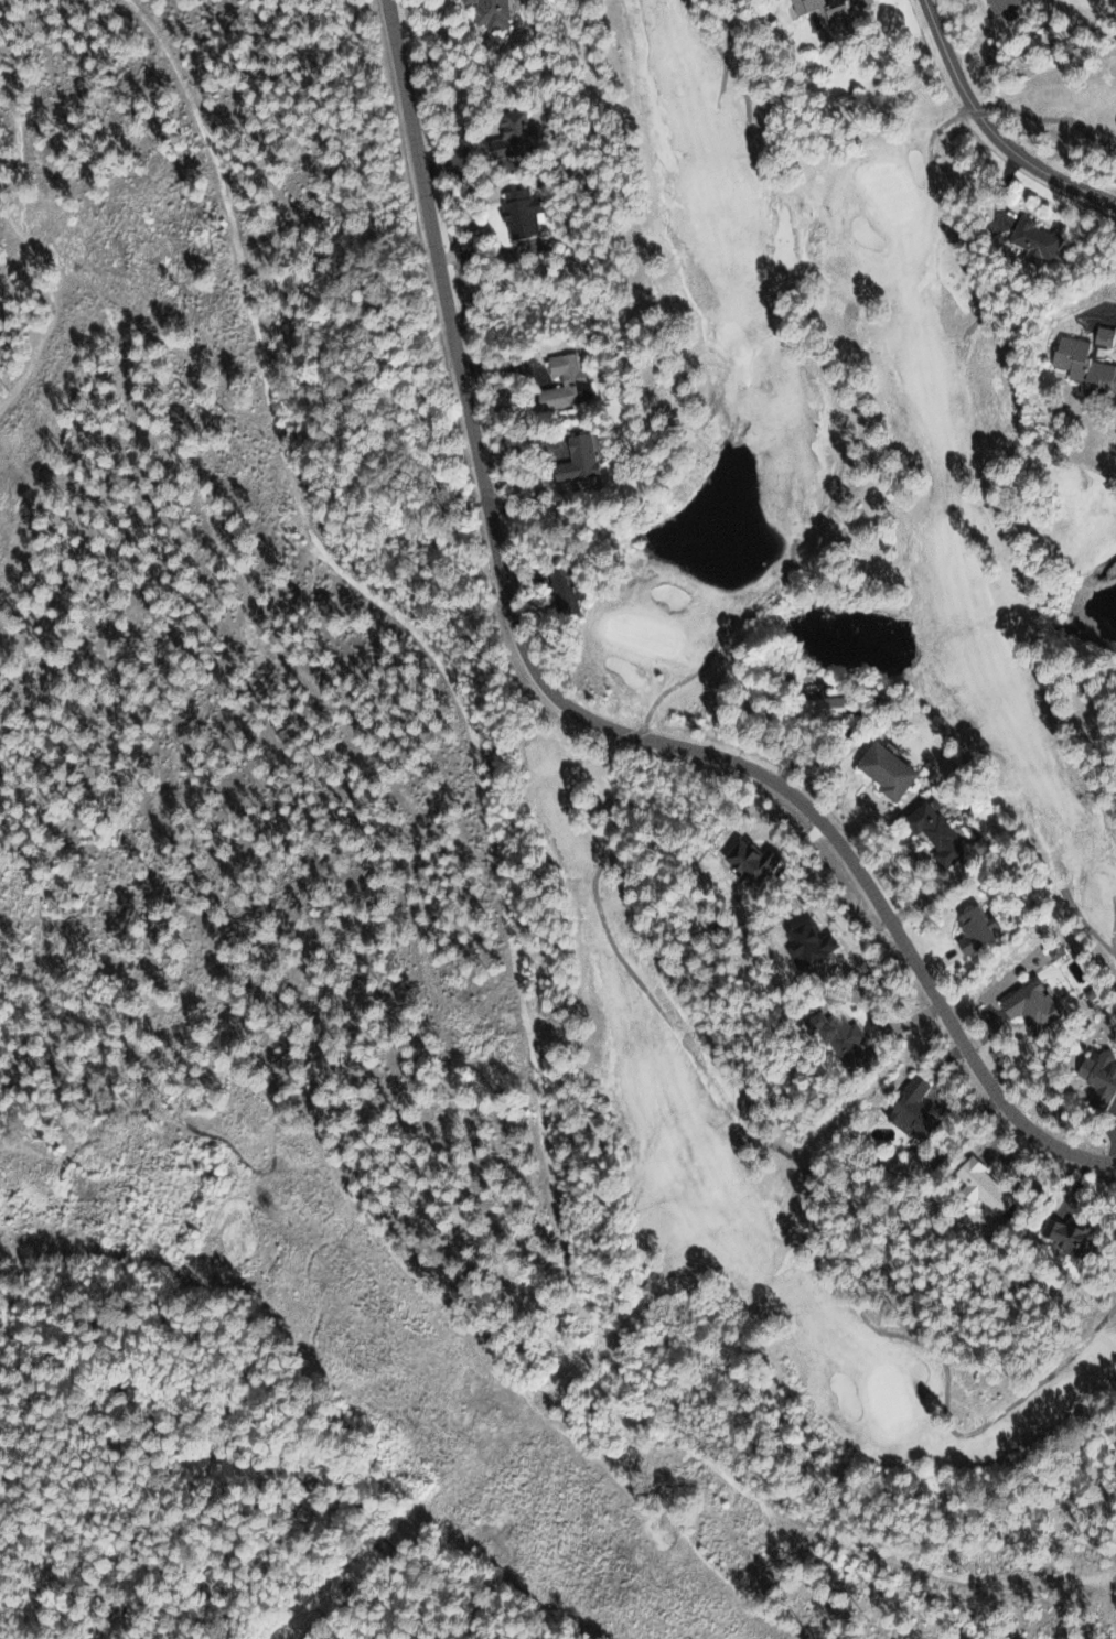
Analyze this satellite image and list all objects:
building: (861, 2)
building: (1001, 7)
building: (487, 12)
building: (824, 14)
road: (991, 129)
building: (511, 134)
building: (516, 212)
building: (1032, 239)
building: (1103, 335)
building: (1083, 367)
building: (562, 382)
park: (47, 402)
building: (575, 460)
building: (561, 590)
building: (816, 708)
road: (569, 709)
park: (566, 765)
building: (884, 770)
building: (933, 833)
building: (748, 862)
building: (970, 929)
building: (806, 942)
building: (1027, 1005)
building: (836, 1036)
building: (1096, 1076)
building: (910, 1111)
building: (979, 1186)
building: (1064, 1234)
park: (291, 1411)

